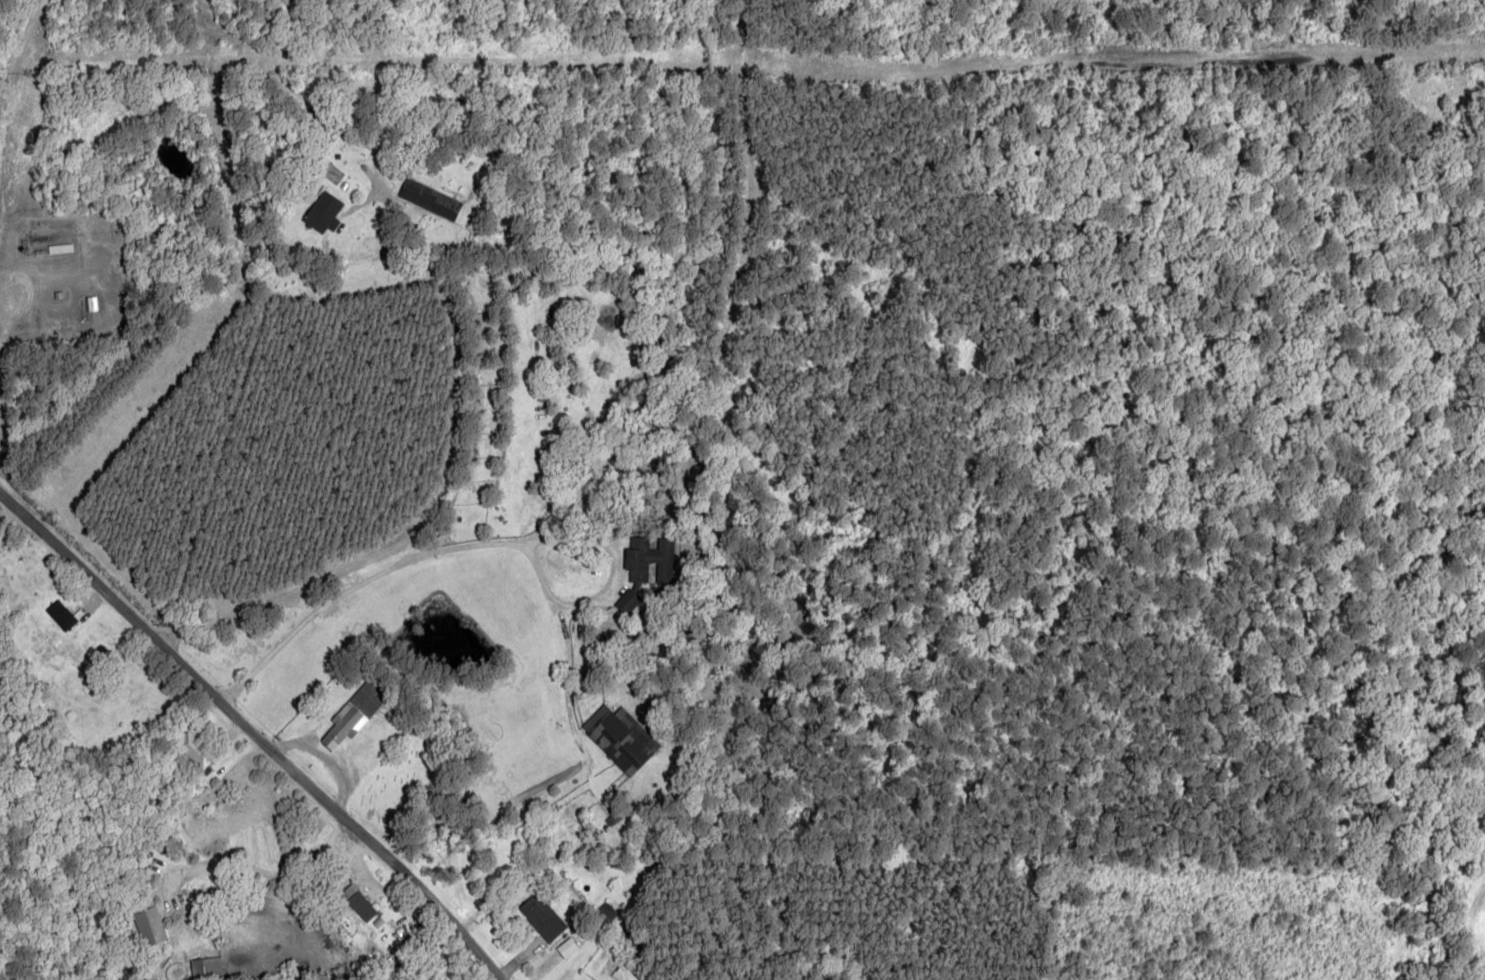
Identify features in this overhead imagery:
building: (429, 198)
building: (322, 211)
road: (443, 336)
building: (649, 560)
road: (98, 598)
building: (627, 601)
building: (60, 615)
building: (354, 712)
building: (620, 737)
building: (193, 749)
road: (327, 830)
road: (135, 849)
building: (357, 903)
building: (606, 910)
building: (541, 917)
building: (148, 926)
building: (566, 948)
building: (205, 969)

